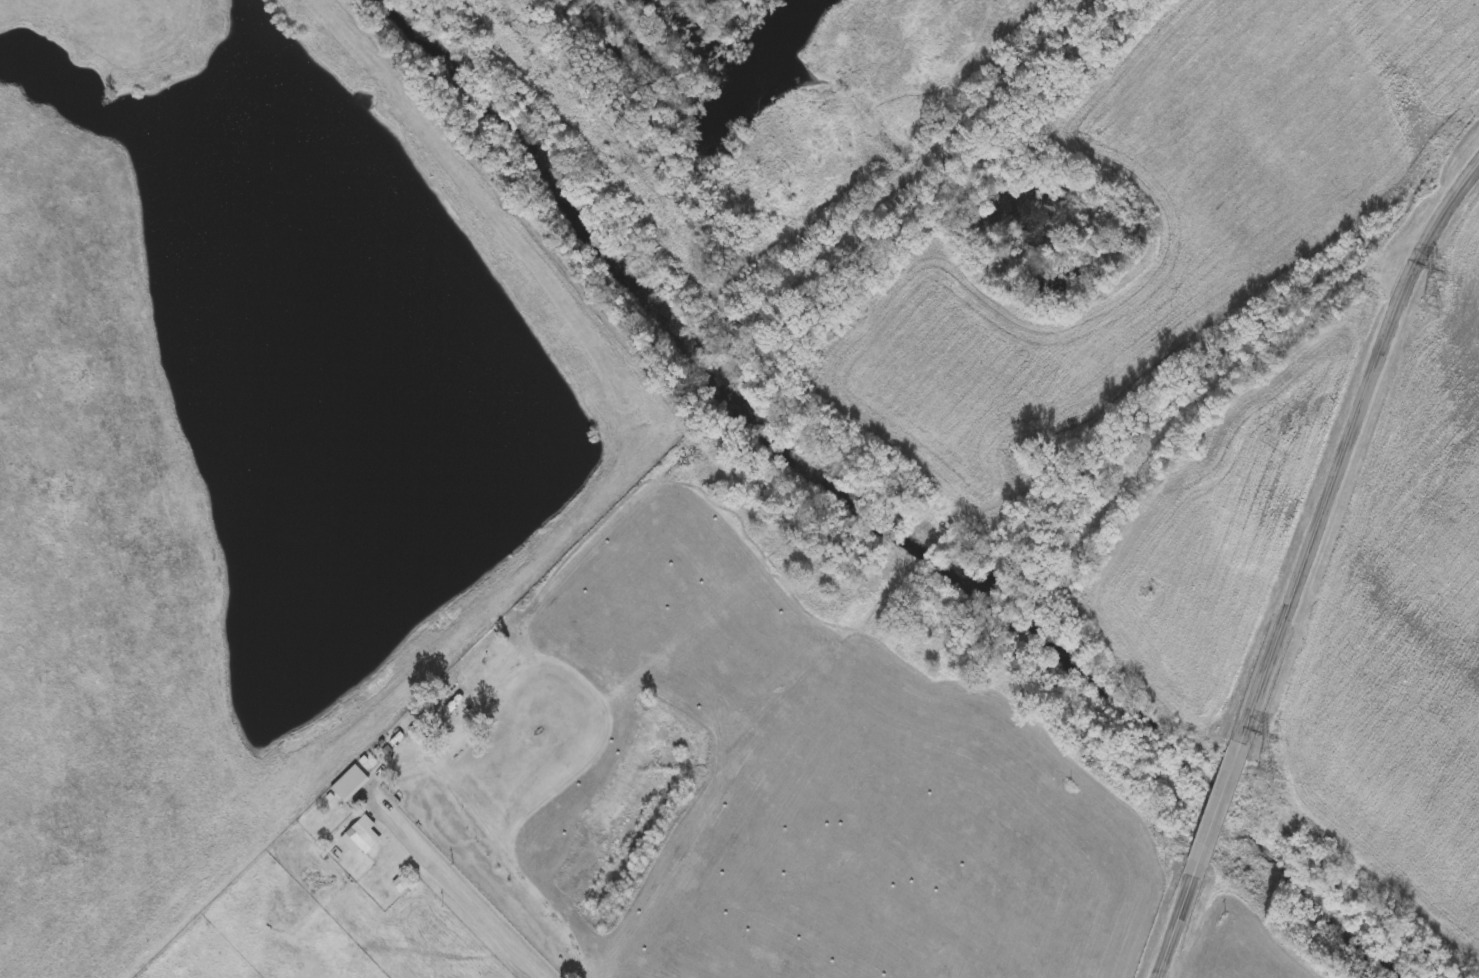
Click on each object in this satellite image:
power tower: (1434, 281)
road: (1220, 381)
road: (1301, 567)
power tower: (1265, 773)
building: (348, 780)
building: (363, 833)
road: (460, 886)

